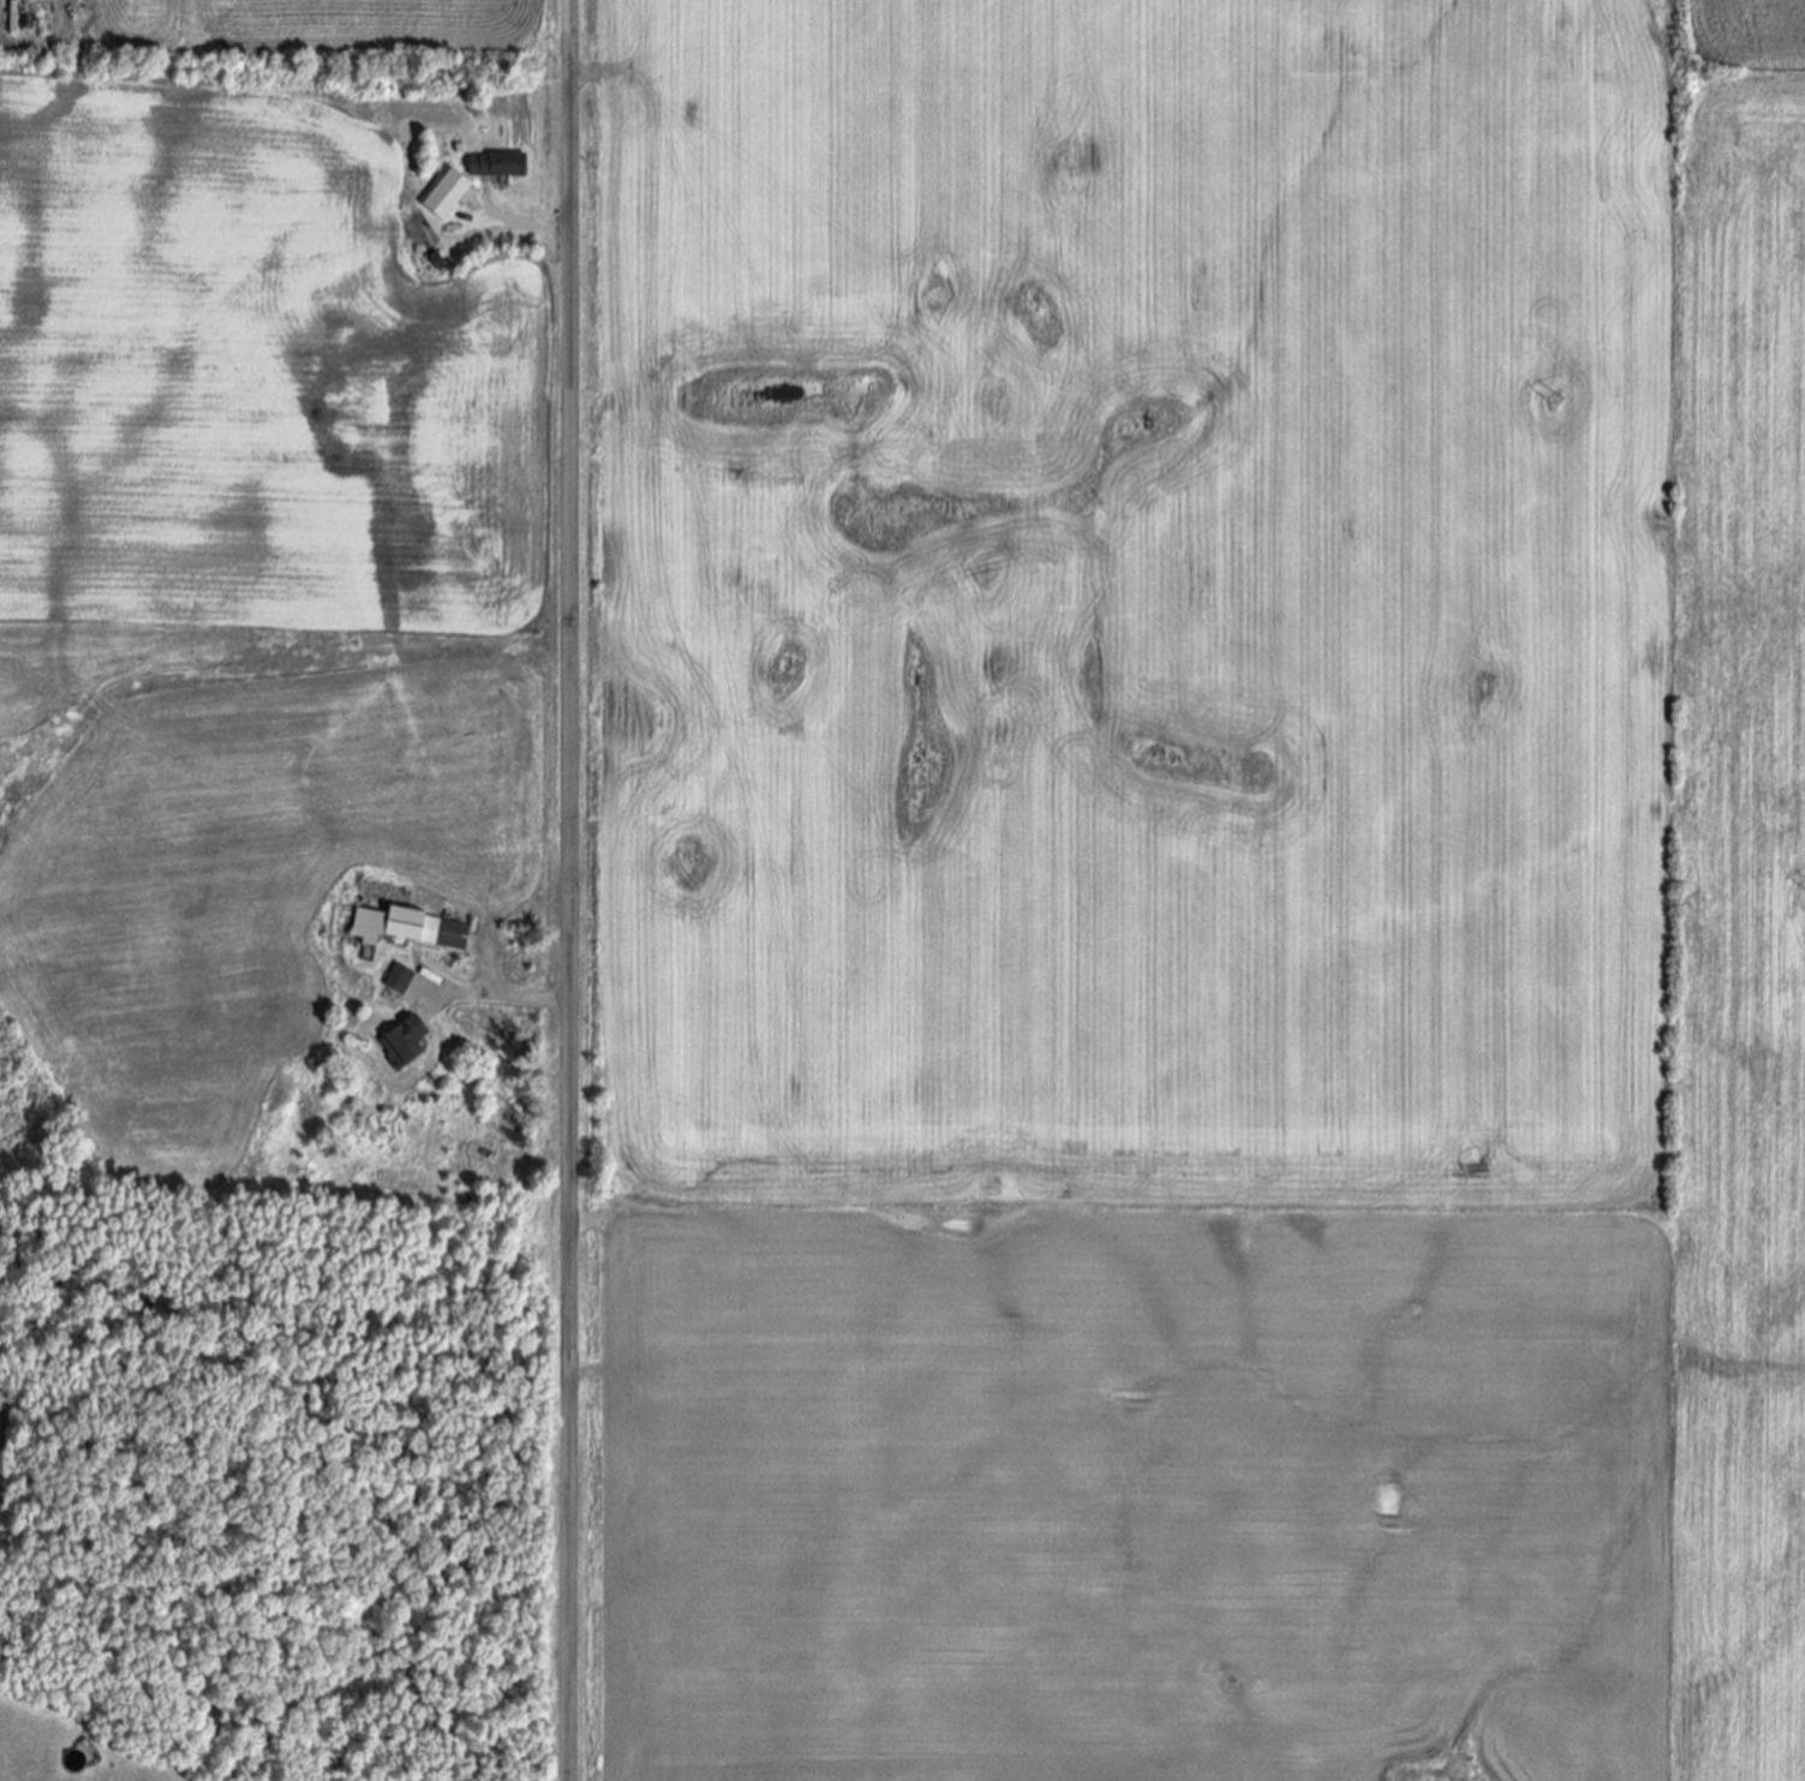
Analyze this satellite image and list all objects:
building: (494, 167)
building: (447, 196)
road: (528, 223)
power tower: (1554, 400)
road: (570, 890)
building: (410, 930)
building: (400, 980)
road: (508, 997)
building: (405, 1044)

